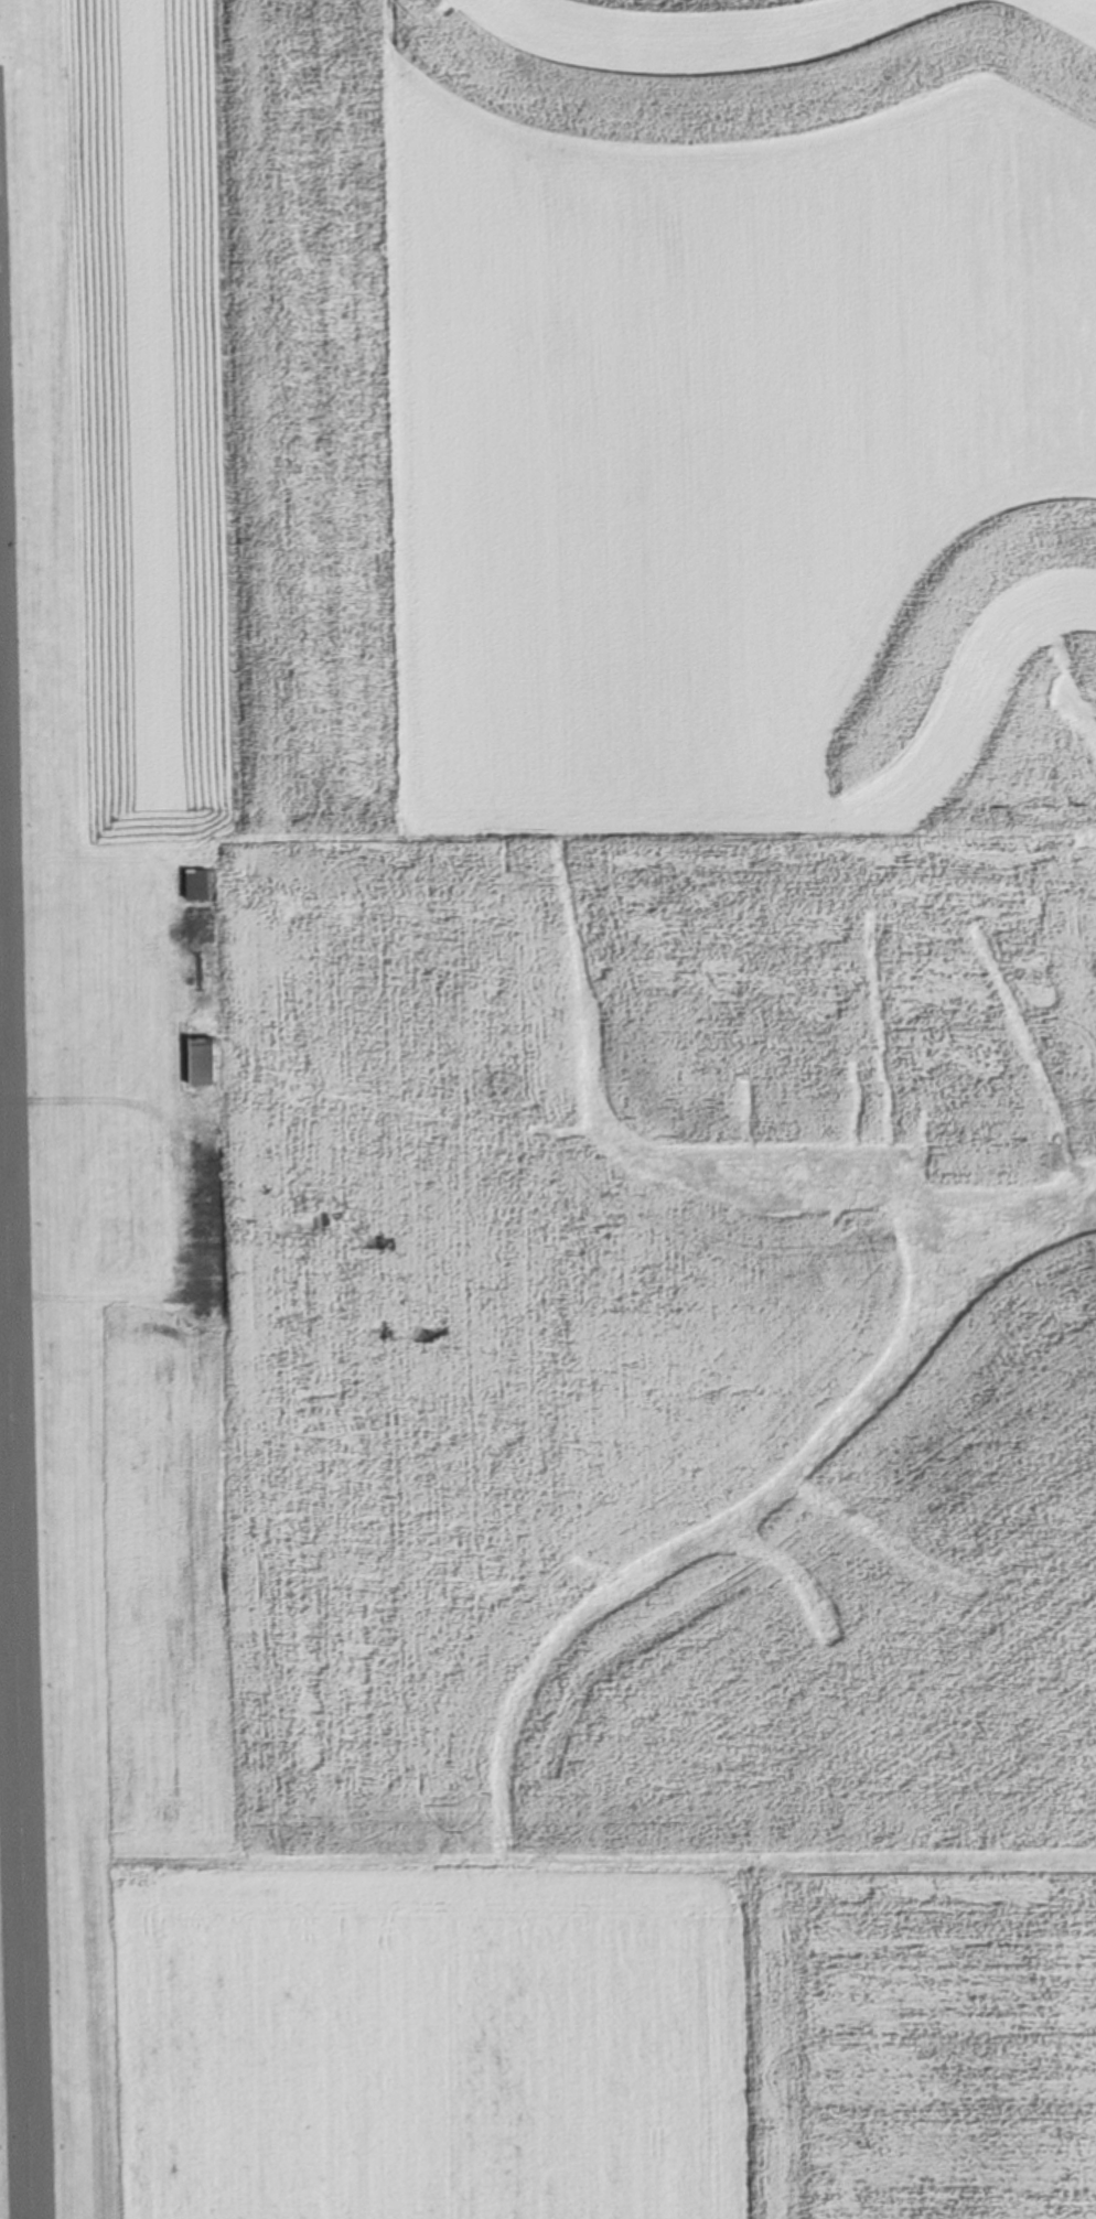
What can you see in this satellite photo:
airport hangar: (197, 885)
building: (197, 885)
airport hangar: (196, 926)
building: (196, 926)
airport hangar: (197, 966)
building: (197, 966)
airport hangar: (195, 1059)
building: (195, 1059)
airport taxiway: (1, 1090)
airport hangar: (204, 1182)
building: (204, 1182)
airport hangar: (204, 1220)
building: (204, 1220)
airport hangar: (205, 1260)
building: (205, 1260)
airport hangar: (205, 1300)
building: (205, 1300)
airport runway: (14, 1607)

